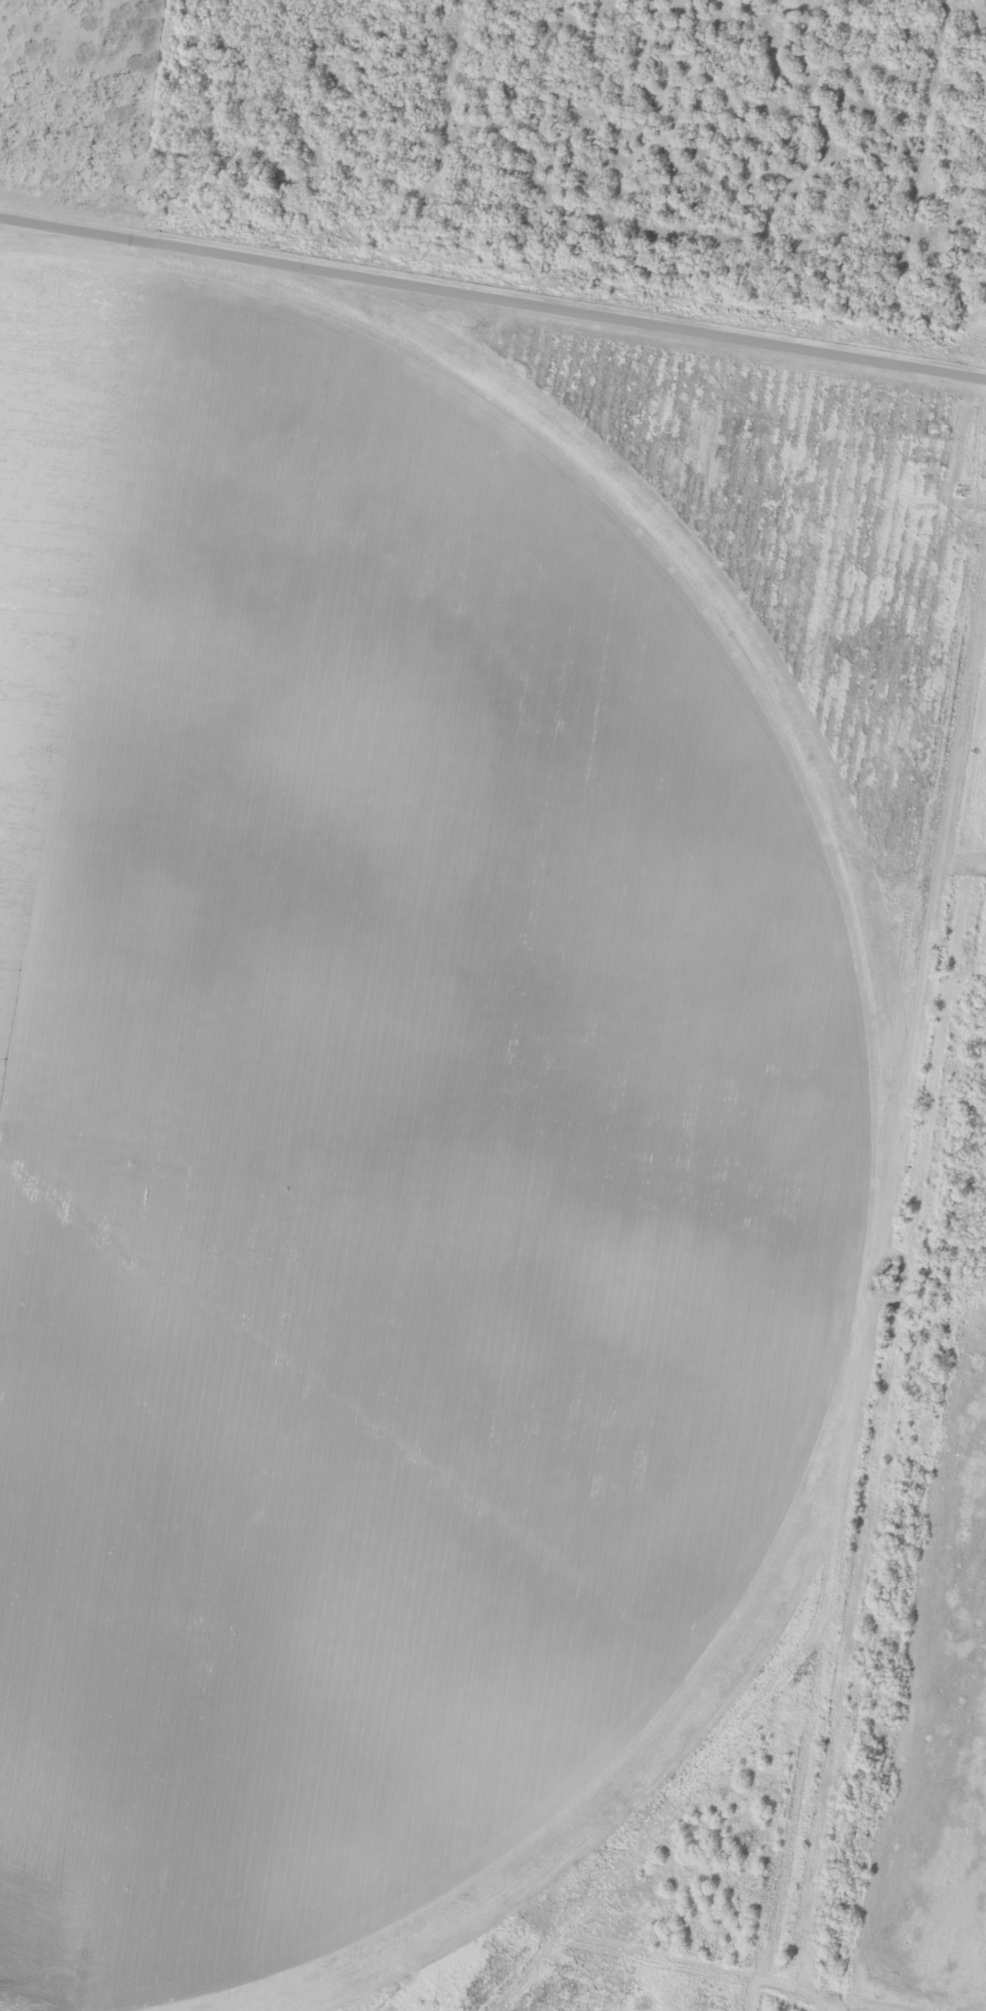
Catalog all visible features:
railway: (493, 255)
road: (493, 294)
road: (967, 338)
road: (853, 1272)
railway: (905, 1481)

